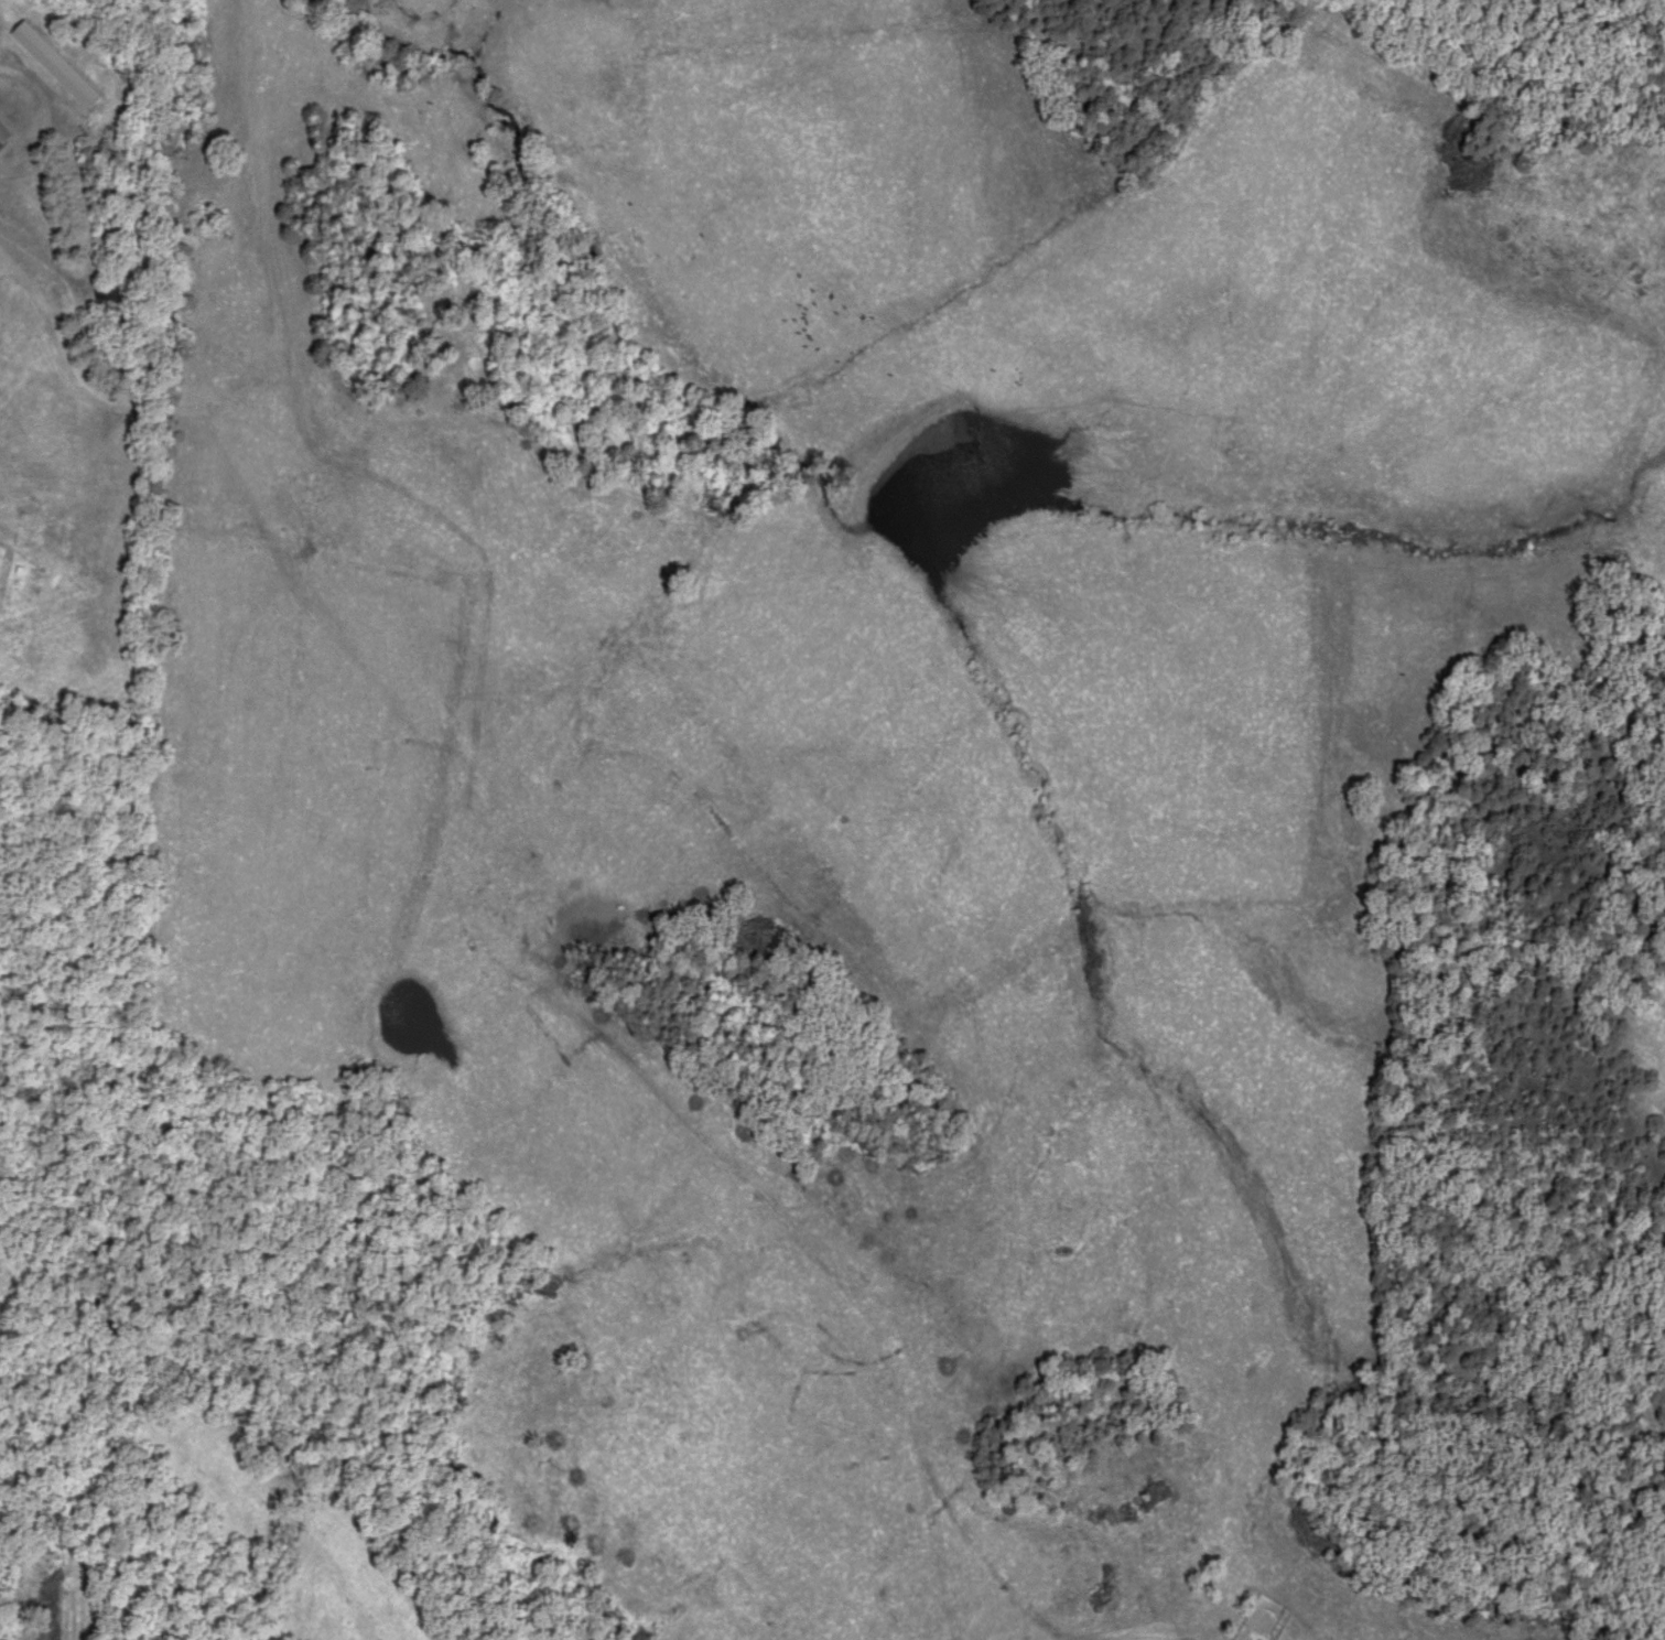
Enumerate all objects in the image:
building: (56, 67)
road: (43, 114)
building: (4, 136)

